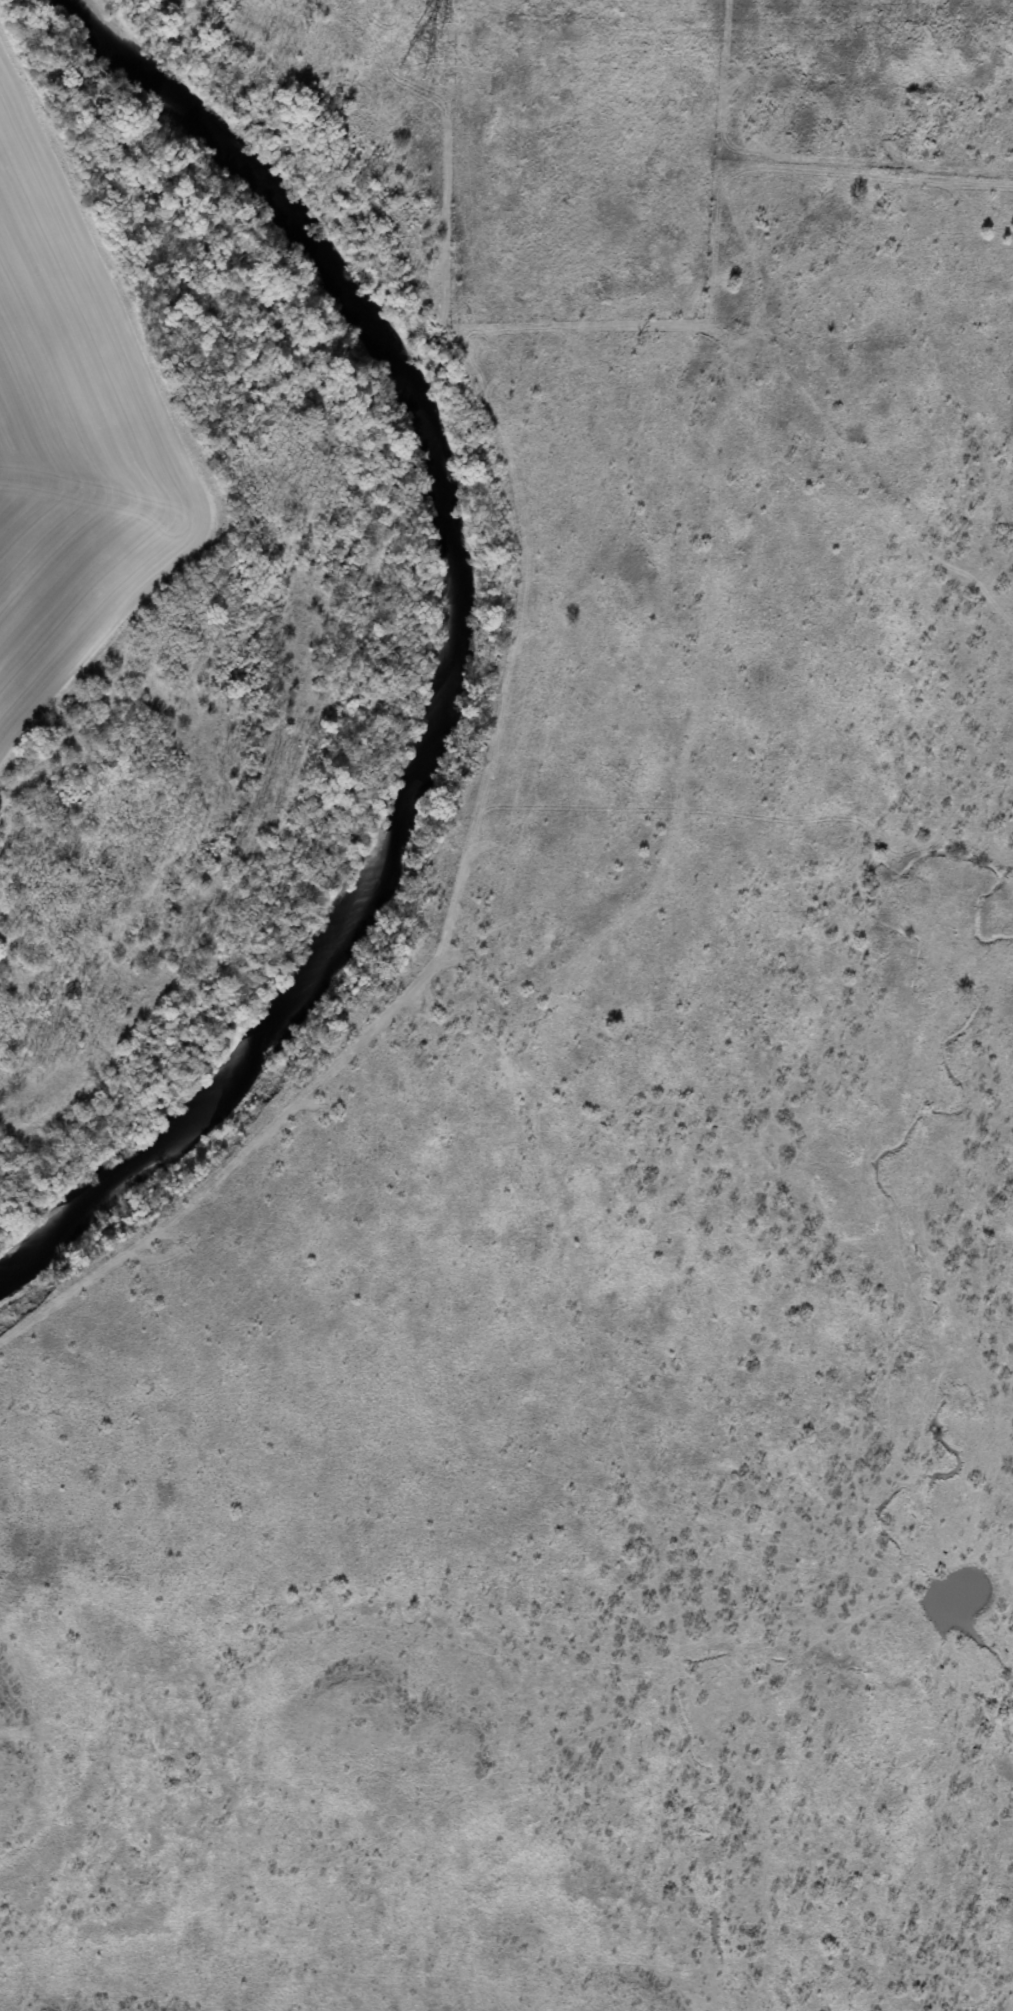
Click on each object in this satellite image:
power tower: (423, 40)
river: (448, 651)

